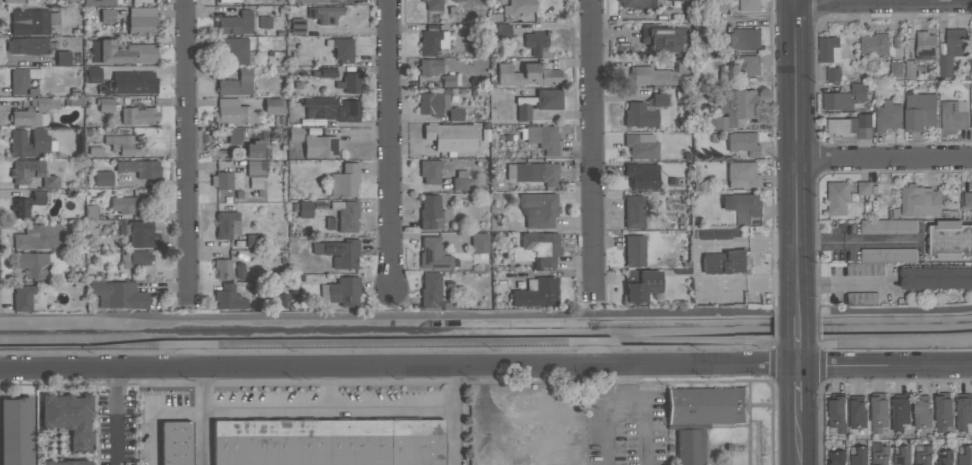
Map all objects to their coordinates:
building: (67, 0)
building: (458, 0)
building: (678, 0)
building: (14, 1)
building: (142, 1)
building: (230, 1)
building: (325, 1)
building: (494, 1)
building: (501, 1)
building: (99, 2)
building: (637, 3)
building: (722, 4)
road: (884, 4)
building: (434, 5)
building: (749, 6)
building: (518, 7)
building: (324, 13)
building: (107, 15)
building: (142, 20)
building: (32, 21)
building: (264, 21)
building: (235, 23)
building: (297, 25)
building: (503, 30)
building: (663, 37)
building: (742, 39)
building: (432, 41)
building: (538, 43)
building: (28, 45)
building: (925, 46)
building: (873, 47)
building: (341, 49)
building: (829, 50)
building: (952, 50)
building: (237, 51)
building: (123, 52)
building: (63, 58)
building: (682, 65)
building: (971, 65)
building: (430, 66)
building: (749, 66)
building: (896, 70)
building: (327, 71)
building: (92, 74)
building: (726, 74)
building: (833, 74)
building: (527, 75)
building: (652, 75)
building: (22, 78)
building: (448, 80)
building: (130, 82)
building: (349, 82)
building: (236, 84)
building: (859, 91)
building: (543, 99)
building: (659, 99)
building: (837, 101)
building: (434, 102)
building: (44, 103)
building: (105, 104)
building: (273, 105)
building: (320, 107)
building: (735, 108)
building: (348, 110)
building: (919, 111)
building: (234, 112)
building: (523, 112)
building: (455, 114)
building: (640, 114)
building: (138, 115)
building: (954, 115)
building: (888, 116)
building: (27, 117)
building: (971, 121)
building: (850, 127)
building: (234, 135)
building: (450, 137)
building: (541, 138)
building: (43, 141)
building: (123, 144)
building: (743, 144)
building: (320, 146)
building: (641, 146)
road: (391, 147)
road: (189, 148)
building: (255, 149)
road: (595, 149)
road: (796, 154)
road: (884, 159)
building: (139, 167)
building: (256, 168)
building: (431, 170)
building: (534, 172)
building: (32, 173)
building: (642, 175)
building: (743, 175)
building: (103, 178)
building: (227, 180)
building: (344, 180)
building: (460, 180)
building: (864, 188)
building: (837, 198)
building: (967, 200)
building: (919, 201)
building: (122, 204)
building: (30, 205)
building: (743, 206)
building: (303, 208)
building: (538, 209)
building: (633, 211)
building: (91, 212)
building: (431, 212)
building: (346, 215)
building: (227, 224)
building: (888, 227)
building: (141, 234)
building: (38, 236)
building: (949, 240)
building: (252, 241)
road: (857, 242)
building: (479, 243)
building: (537, 249)
building: (634, 250)
building: (339, 252)
building: (433, 253)
building: (135, 258)
building: (879, 261)
building: (725, 262)
building: (32, 264)
building: (223, 268)
building: (936, 277)
building: (640, 285)
road: (846, 285)
building: (430, 290)
building: (341, 291)
building: (536, 292)
building: (119, 295)
building: (22, 297)
building: (229, 297)
building: (862, 299)
road: (798, 327)
building: (859, 337)
road: (798, 356)
road: (885, 366)
road: (398, 369)
road: (624, 382)
road: (798, 389)
road: (327, 390)
building: (705, 405)
road: (332, 409)
building: (879, 411)
building: (964, 411)
building: (857, 412)
building: (899, 412)
building: (921, 412)
building: (943, 412)
road: (157, 414)
building: (837, 414)
building: (69, 417)
road: (209, 417)
road: (456, 417)
road: (118, 418)
road: (605, 423)
road: (641, 423)
building: (15, 431)
road: (798, 438)
building: (175, 442)
building: (328, 442)
building: (690, 443)
building: (879, 454)
building: (923, 455)
building: (944, 455)
building: (965, 455)
building: (860, 456)
building: (903, 457)
building: (837, 458)
building: (66, 462)

